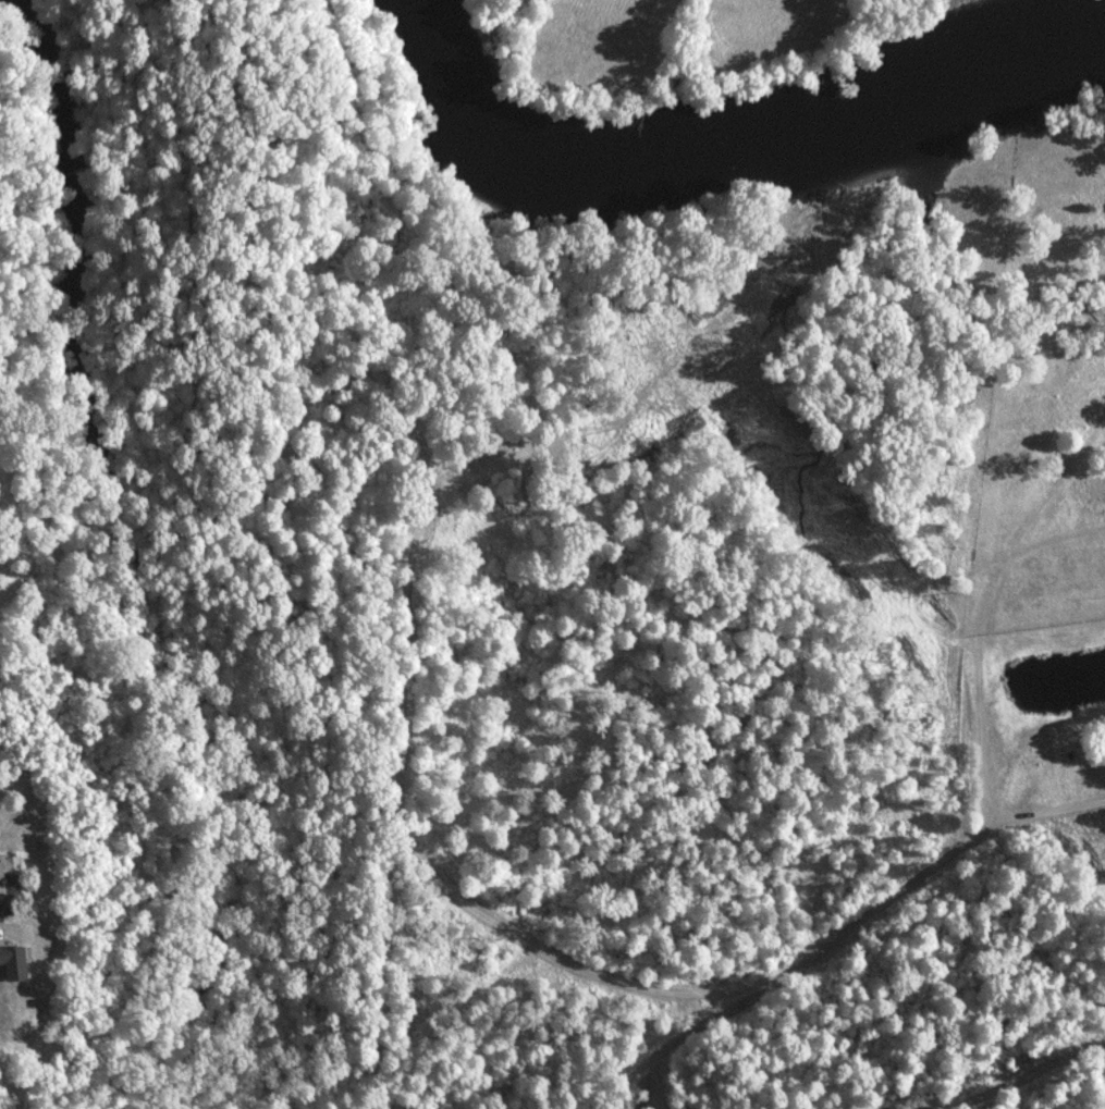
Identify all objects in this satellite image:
river: (710, 133)
building: (10, 867)
building: (15, 963)

